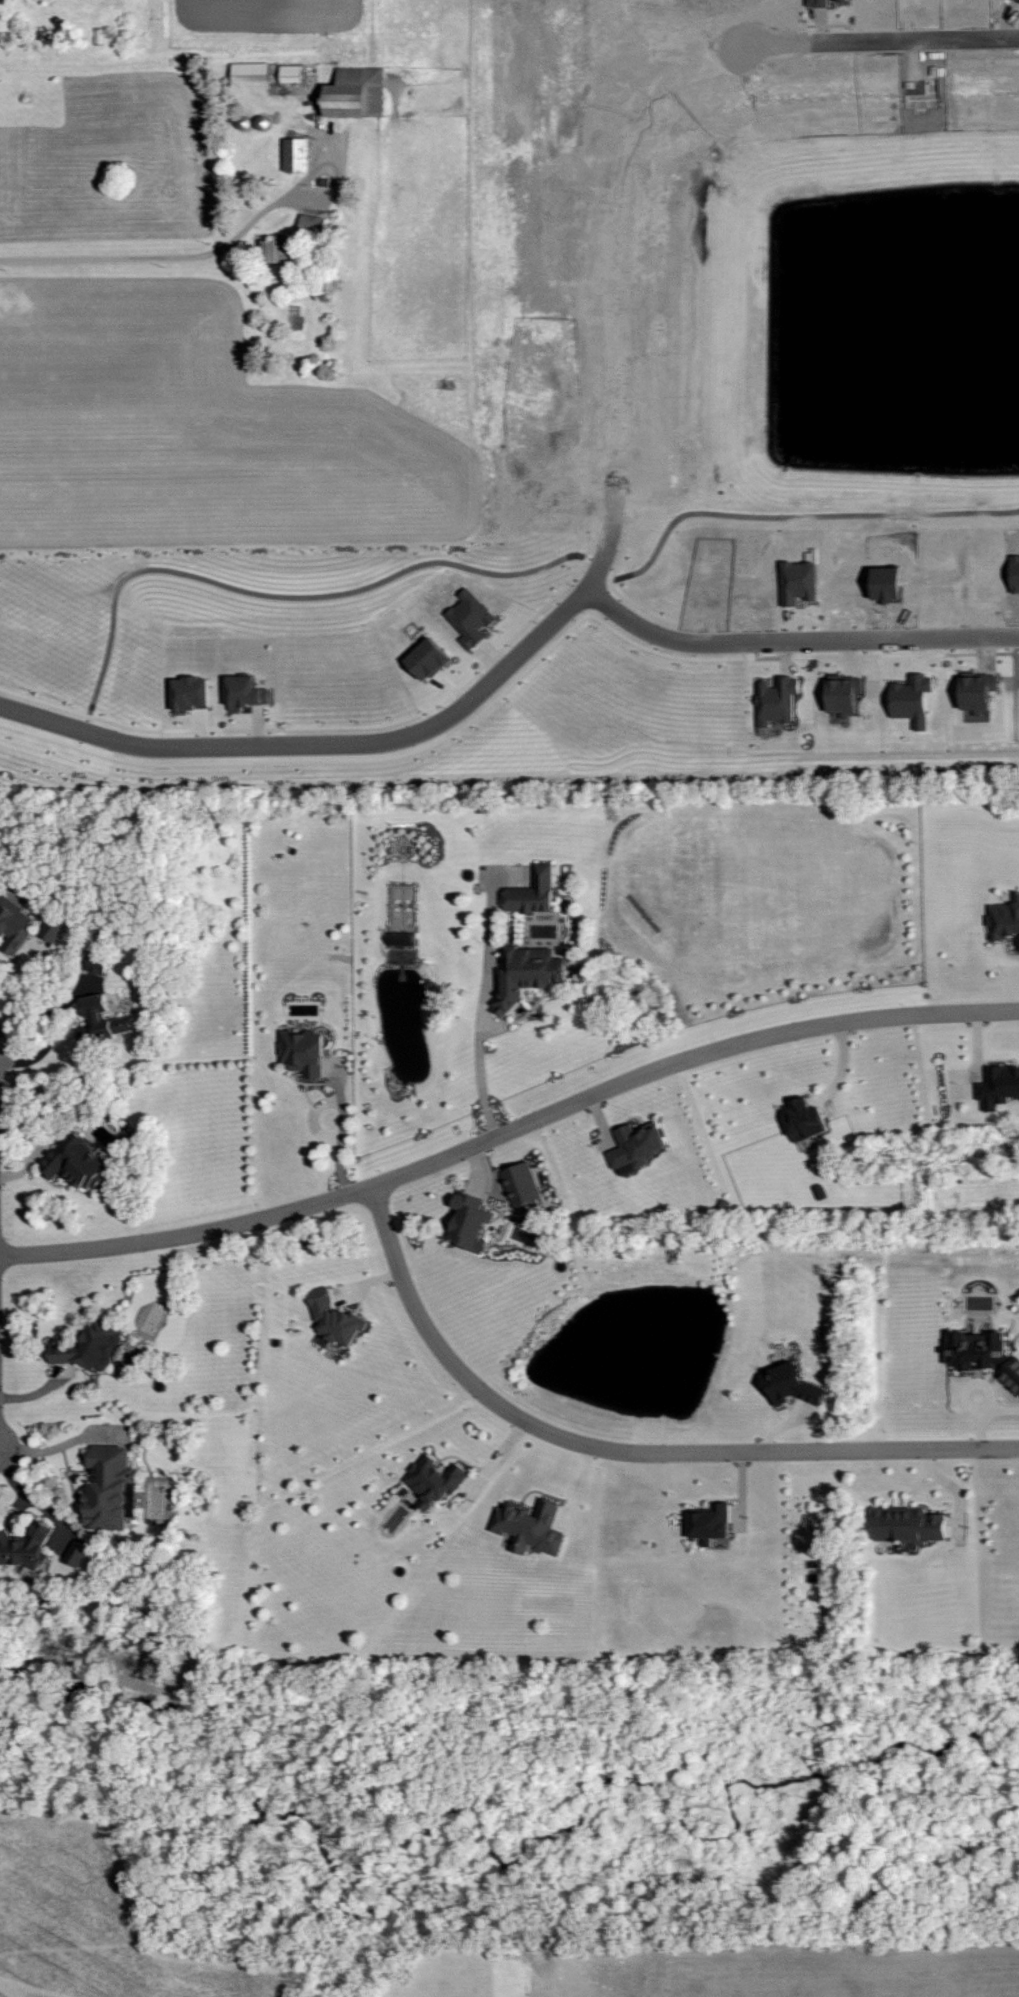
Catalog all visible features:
building: (251, 72)
building: (292, 73)
building: (357, 92)
road: (637, 131)
building: (297, 154)
building: (313, 224)
building: (280, 249)
road: (164, 256)
building: (799, 581)
road: (795, 639)
building: (429, 658)
building: (192, 693)
building: (248, 693)
building: (845, 694)
building: (777, 700)
road: (342, 744)
building: (533, 893)
building: (1004, 919)
building: (14, 925)
building: (53, 930)
building: (98, 963)
building: (529, 973)
road: (12, 984)
road: (482, 1019)
building: (102, 1020)
road: (48, 1041)
building: (304, 1051)
building: (999, 1087)
building: (805, 1119)
road: (509, 1129)
road: (339, 1141)
building: (636, 1144)
building: (77, 1162)
building: (522, 1184)
building: (471, 1221)
building: (335, 1318)
building: (91, 1347)
building: (978, 1349)
building: (1012, 1372)
building: (792, 1385)
road: (61, 1444)
road: (622, 1454)
building: (435, 1480)
building: (111, 1488)
building: (711, 1522)
building: (909, 1524)
building: (531, 1526)
building: (26, 1546)
building: (78, 1554)

